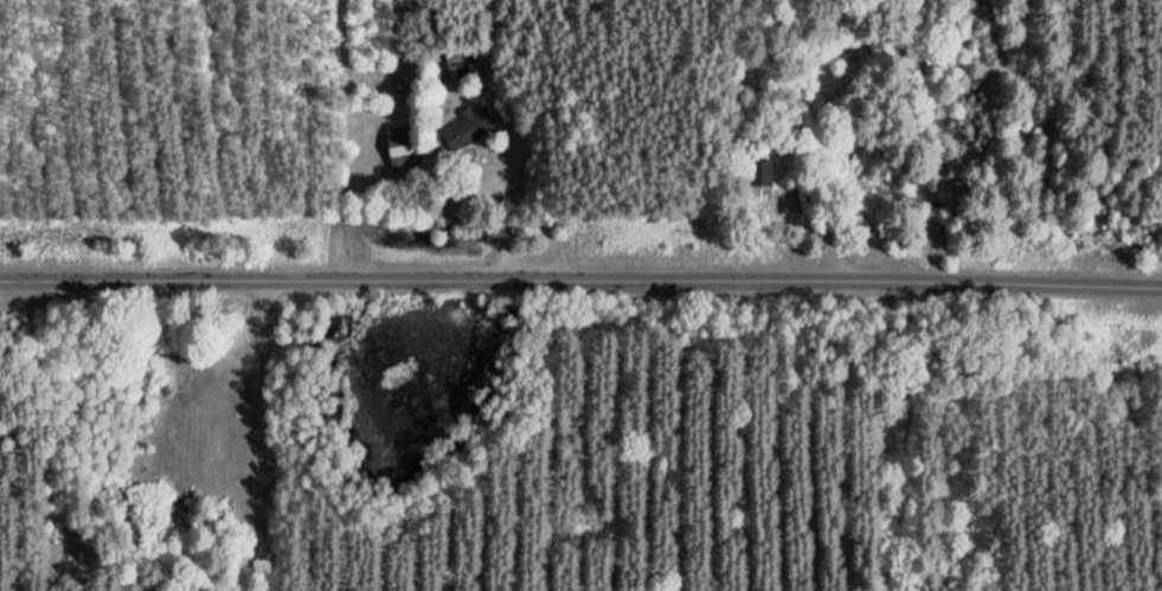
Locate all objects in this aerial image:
building: (469, 128)
building: (406, 147)
building: (771, 172)
road: (580, 281)
road: (258, 435)

